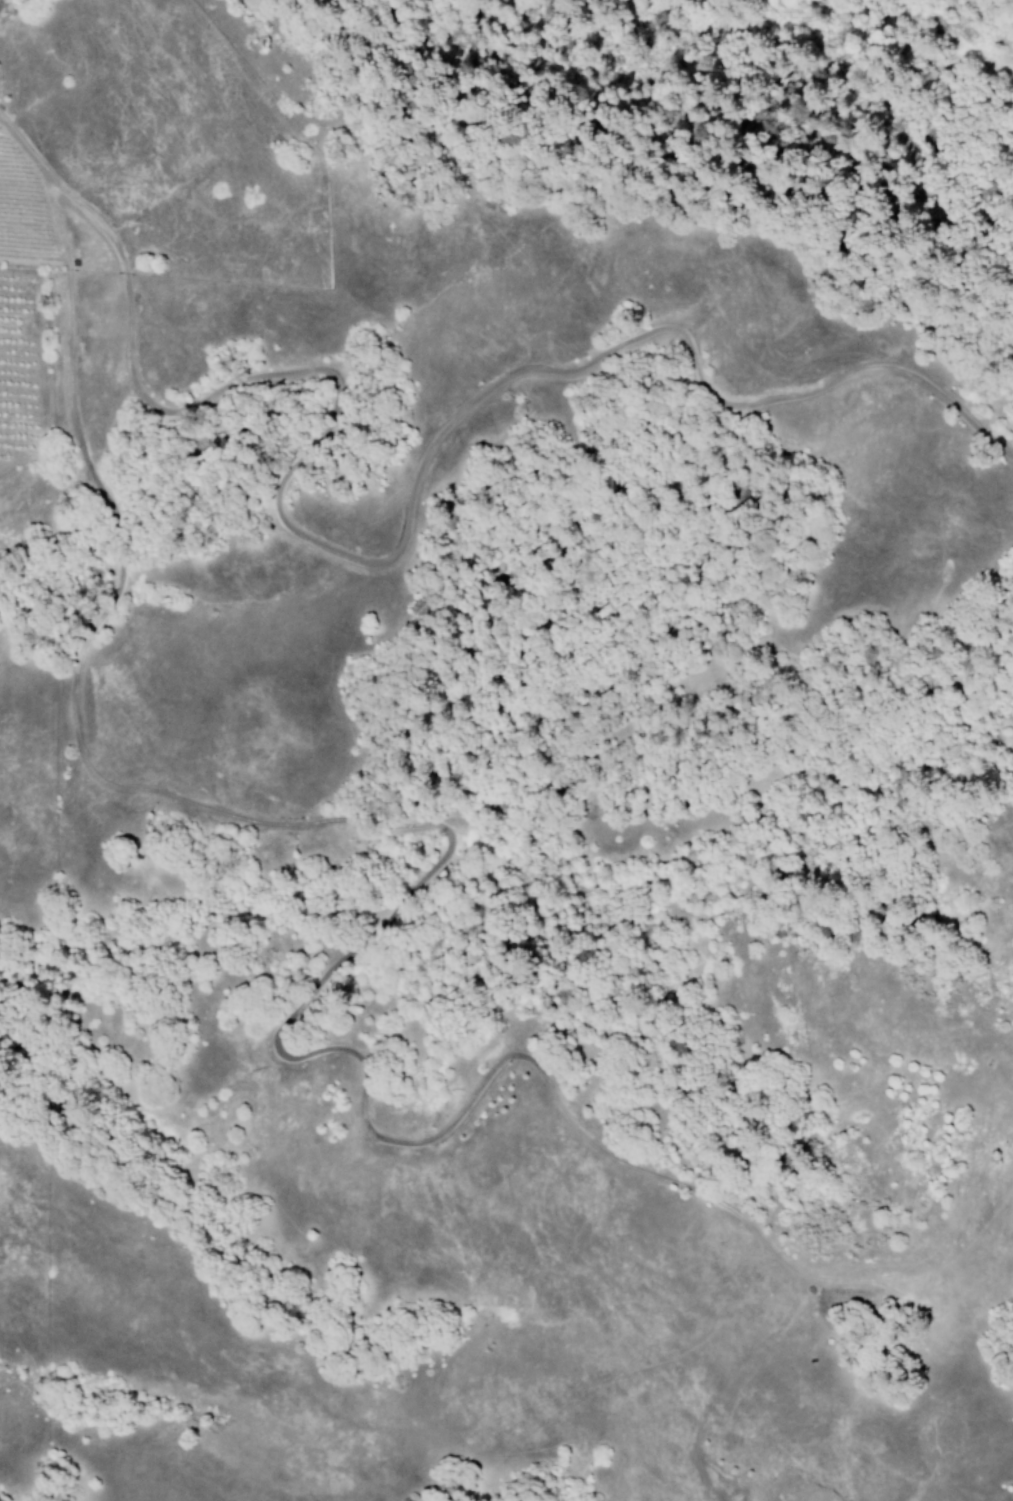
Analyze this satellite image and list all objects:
road: (369, 610)

